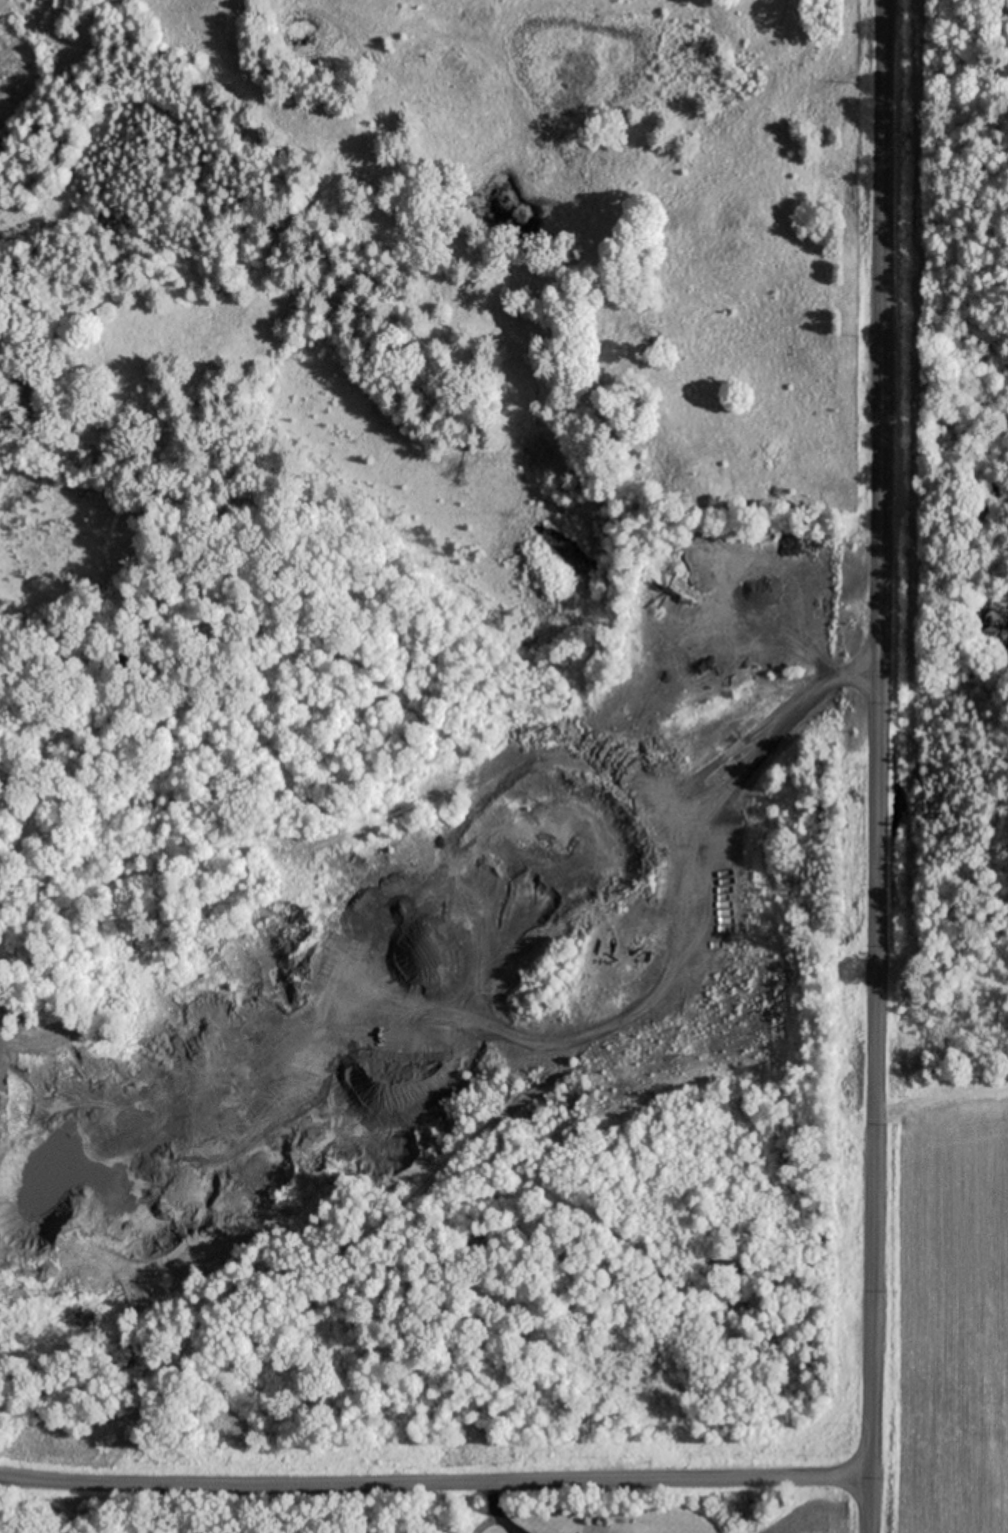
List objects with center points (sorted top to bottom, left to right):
road: (879, 766)
road: (435, 1489)

